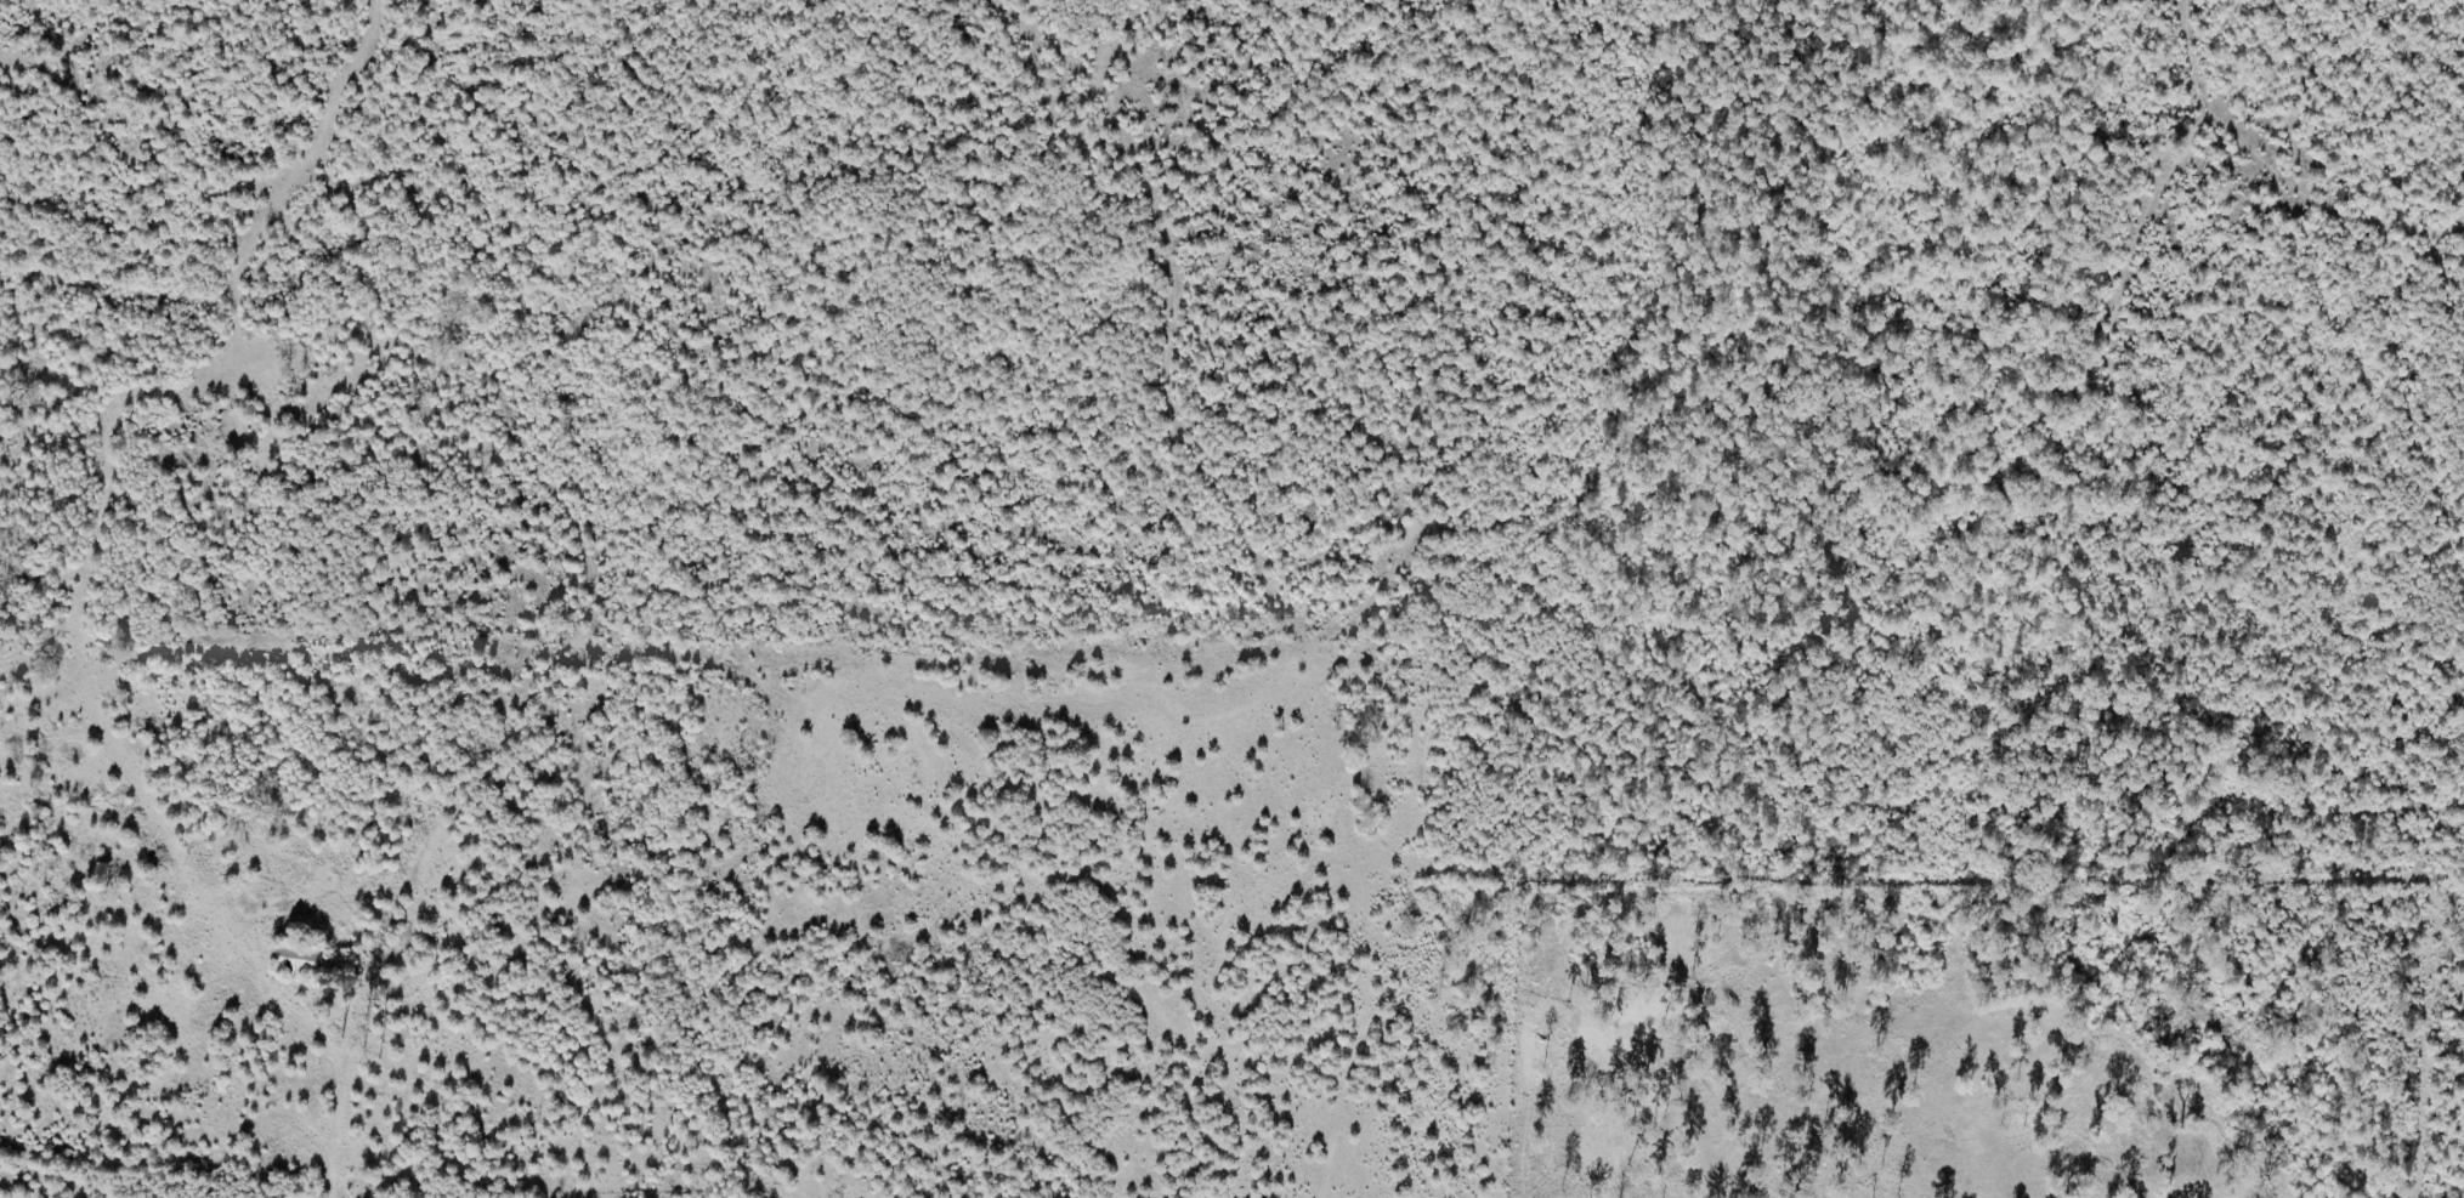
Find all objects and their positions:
building: (295, 959)
road: (2346, 981)

